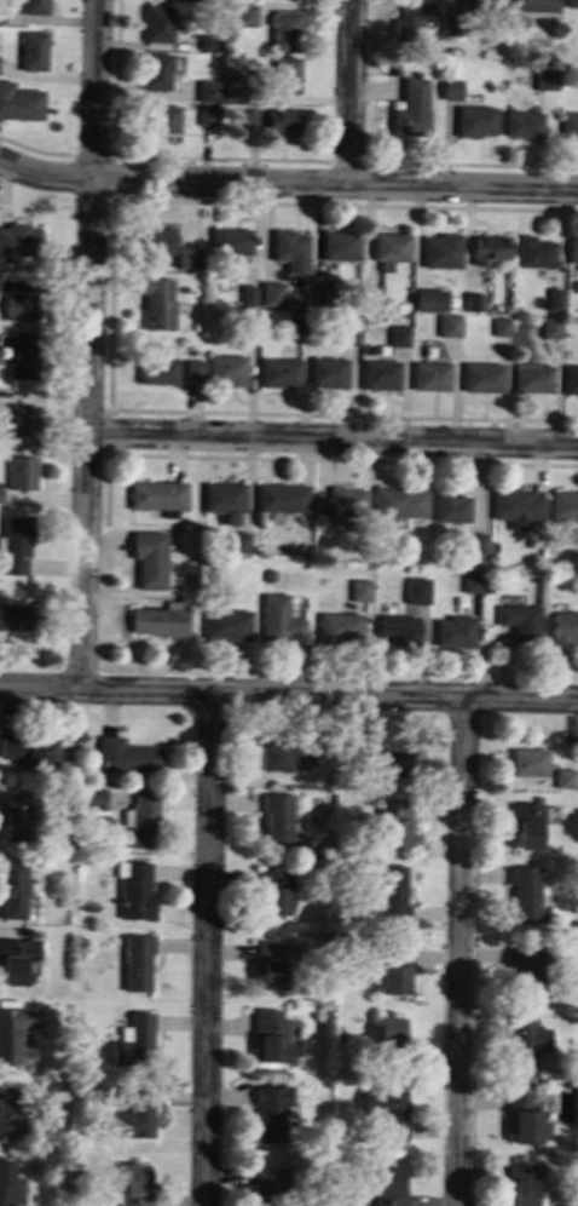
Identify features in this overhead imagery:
building: (478, 1)
building: (570, 4)
building: (530, 5)
building: (34, 6)
building: (244, 15)
building: (409, 16)
building: (156, 22)
building: (284, 30)
building: (31, 50)
building: (155, 70)
building: (285, 75)
building: (449, 88)
building: (208, 90)
road: (348, 93)
building: (19, 102)
building: (410, 108)
building: (207, 114)
building: (247, 117)
building: (162, 119)
building: (279, 120)
building: (474, 120)
building: (521, 125)
building: (568, 125)
road: (287, 184)
building: (19, 239)
building: (156, 240)
building: (230, 241)
building: (339, 245)
building: (388, 246)
building: (487, 248)
building: (572, 248)
building: (289, 249)
building: (439, 251)
building: (532, 252)
building: (187, 257)
building: (247, 294)
building: (271, 294)
building: (551, 298)
building: (427, 299)
building: (472, 301)
building: (156, 303)
building: (21, 306)
building: (446, 325)
building: (498, 326)
building: (548, 327)
building: (346, 334)
building: (397, 335)
road: (88, 344)
building: (23, 354)
building: (156, 369)
building: (192, 369)
building: (225, 369)
building: (278, 372)
building: (326, 373)
building: (378, 374)
building: (429, 375)
building: (480, 377)
building: (531, 378)
building: (568, 379)
building: (21, 424)
road: (331, 440)
building: (22, 472)
building: (0, 488)
building: (155, 495)
building: (279, 496)
building: (222, 499)
building: (398, 501)
building: (339, 505)
building: (562, 505)
building: (447, 506)
building: (514, 506)
building: (237, 541)
building: (472, 544)
building: (15, 545)
building: (149, 558)
building: (473, 581)
building: (359, 590)
building: (416, 590)
building: (16, 616)
building: (278, 619)
building: (519, 621)
building: (157, 622)
building: (225, 624)
building: (339, 627)
building: (563, 627)
building: (397, 628)
building: (453, 632)
road: (289, 694)
building: (28, 748)
building: (282, 754)
building: (125, 756)
building: (528, 762)
building: (389, 763)
building: (563, 777)
building: (91, 797)
building: (12, 817)
building: (141, 817)
building: (274, 821)
building: (392, 823)
building: (526, 825)
building: (12, 889)
building: (134, 890)
building: (271, 891)
building: (391, 892)
building: (524, 895)
road: (207, 949)
road: (459, 952)
building: (393, 954)
building: (15, 959)
building: (137, 961)
building: (270, 963)
building: (525, 967)
building: (391, 978)
building: (388, 1030)
building: (15, 1032)
building: (270, 1035)
building: (132, 1040)
building: (525, 1041)
building: (8, 1109)
building: (270, 1112)
building: (387, 1115)
building: (132, 1116)
building: (524, 1119)
building: (267, 1179)
building: (8, 1185)
building: (134, 1185)
building: (521, 1185)
building: (386, 1187)

